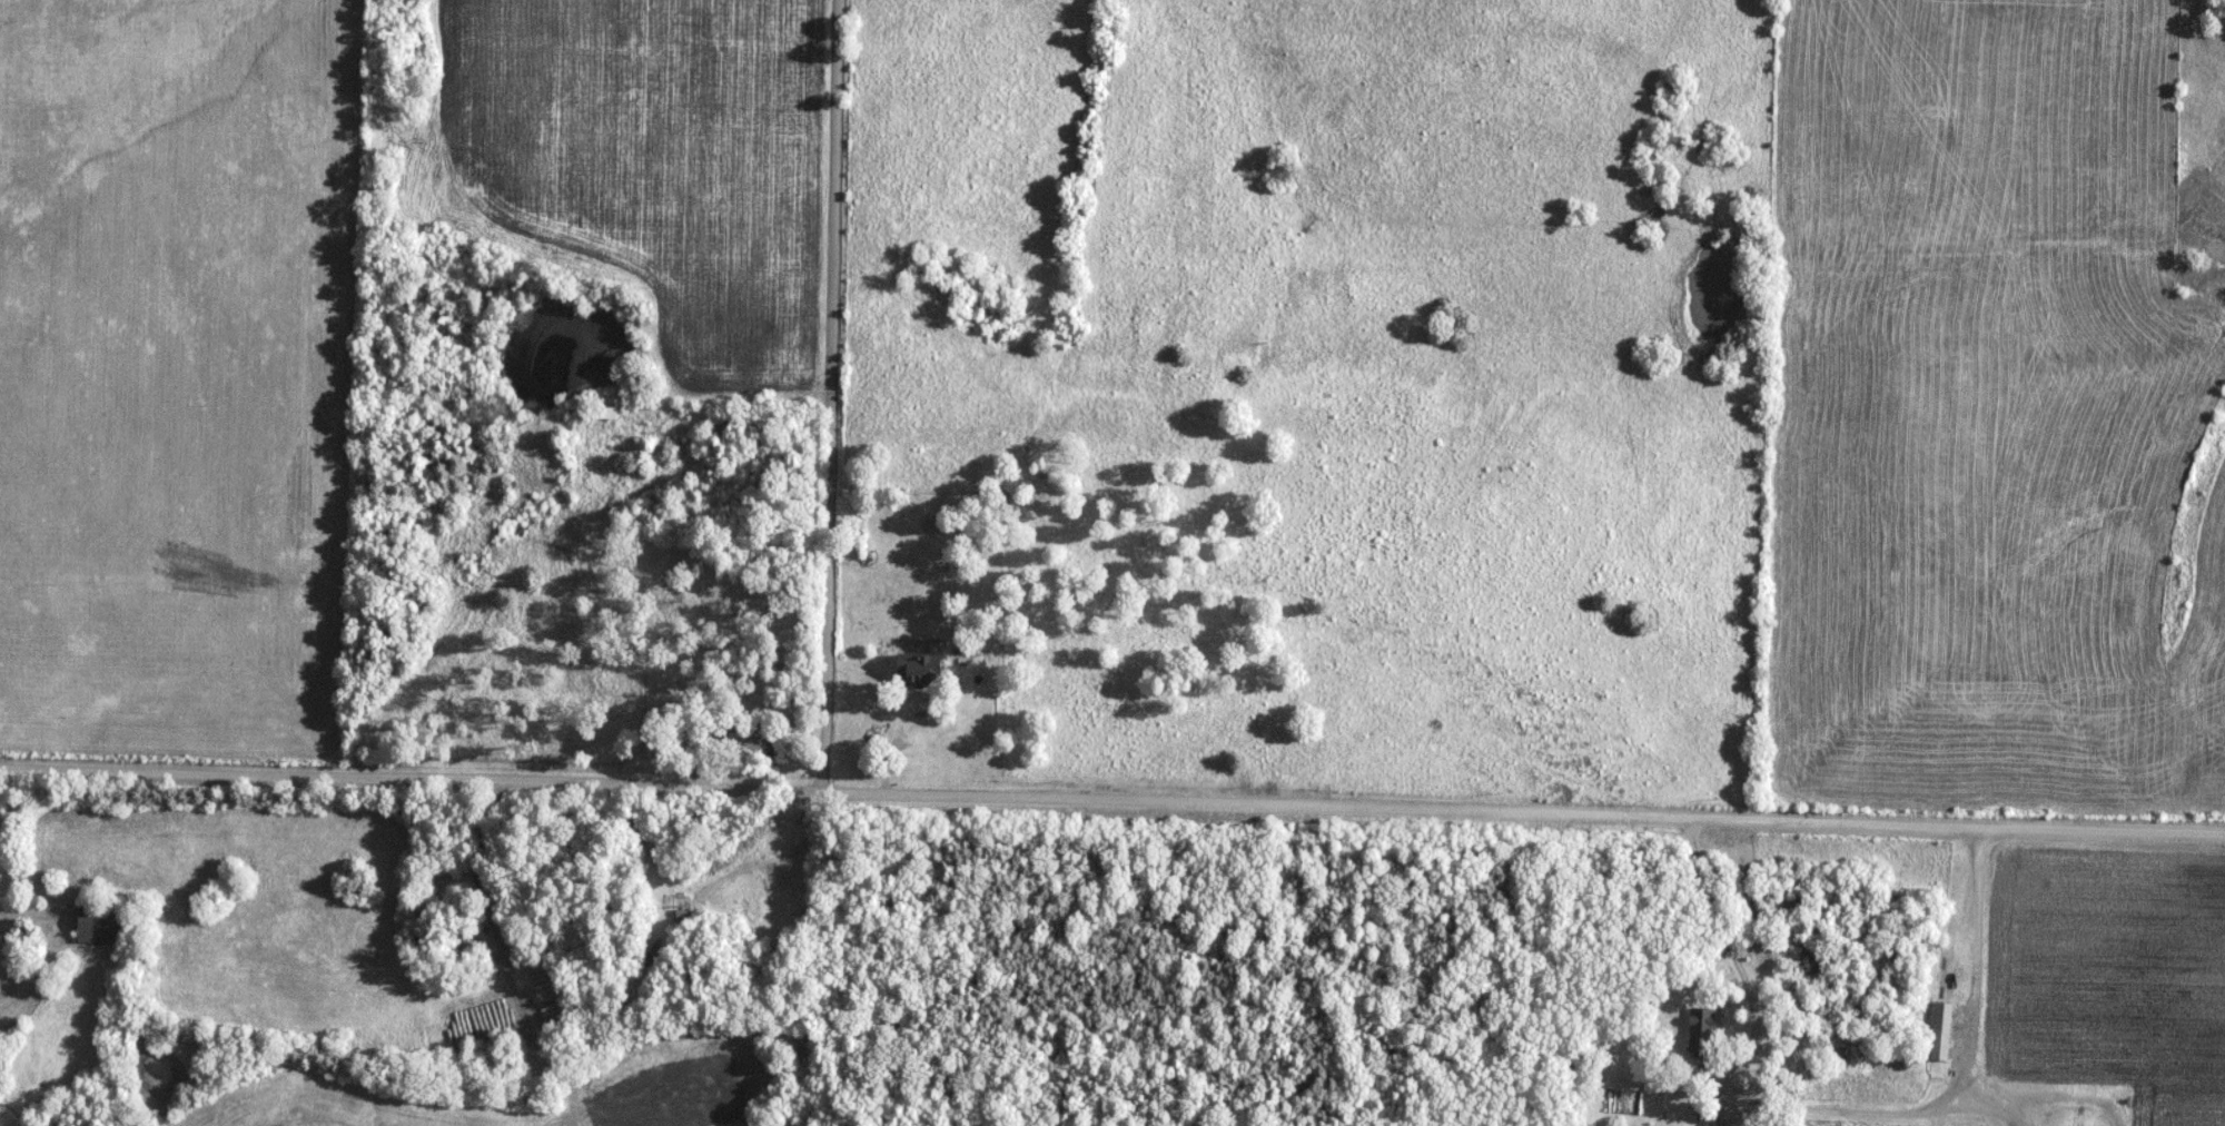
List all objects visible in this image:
building: (671, 223)
road: (832, 396)
building: (604, 413)
building: (918, 668)
building: (755, 745)
road: (1111, 800)
building: (100, 925)
building: (463, 937)
road: (1977, 970)
road: (28, 985)
building: (1702, 1031)
building: (1942, 1031)
building: (1838, 1056)
road: (1735, 1097)

